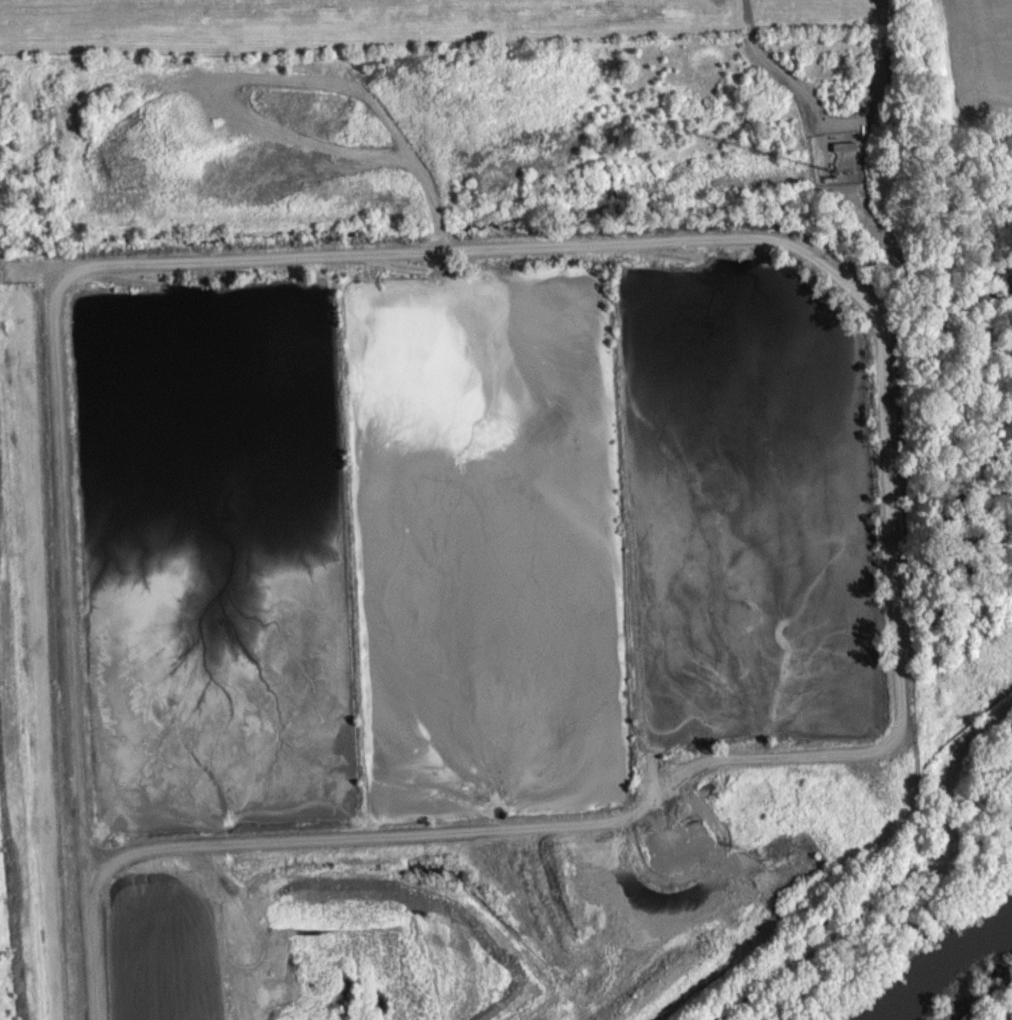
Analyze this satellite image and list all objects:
road: (786, 80)
building: (843, 145)
road: (811, 255)
power tower: (773, 858)
road: (899, 888)
road: (89, 945)

